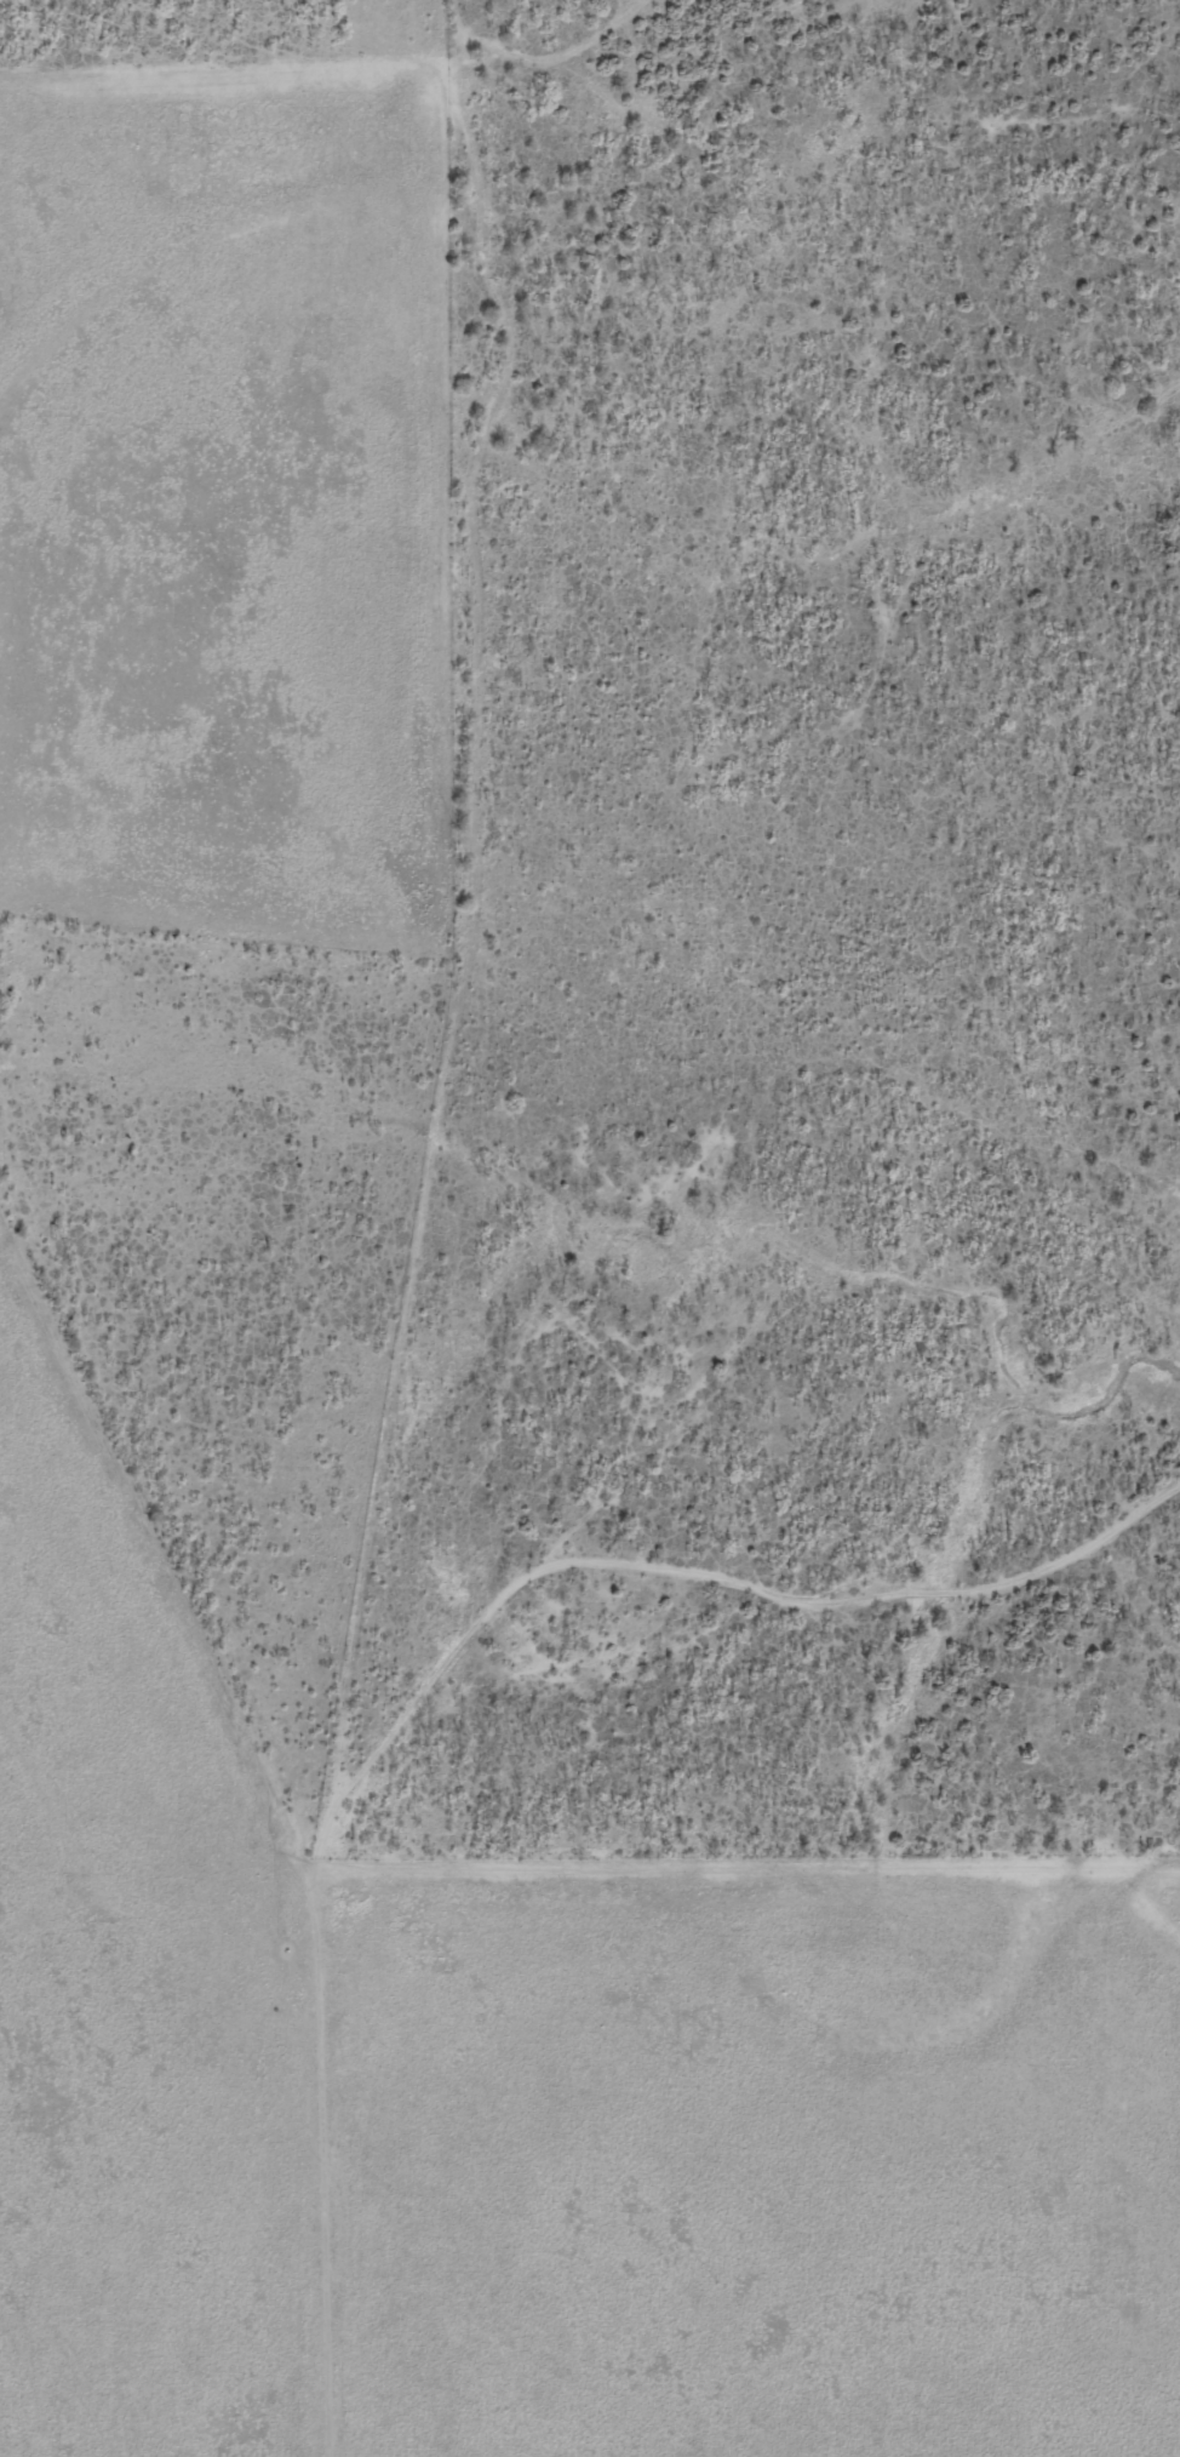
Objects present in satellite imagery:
road: (409, 1649)

